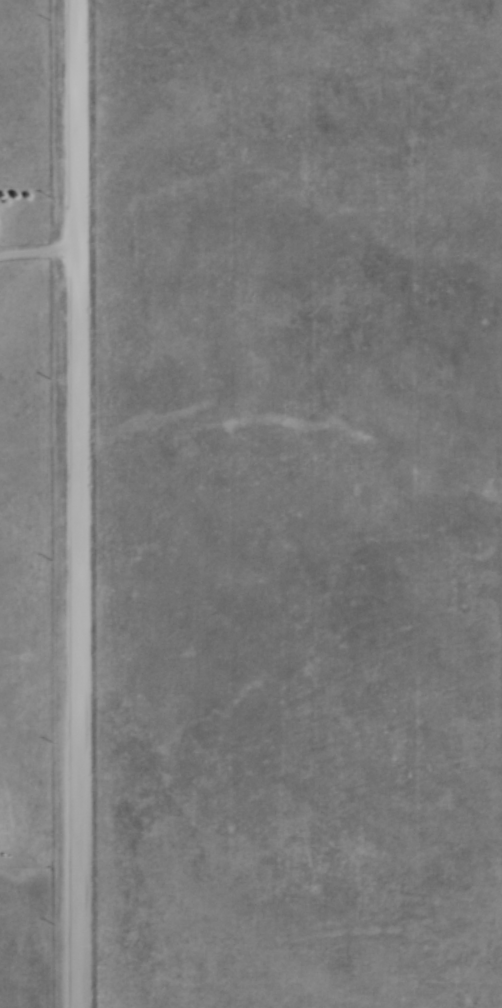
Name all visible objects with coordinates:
road: (77, 504)

